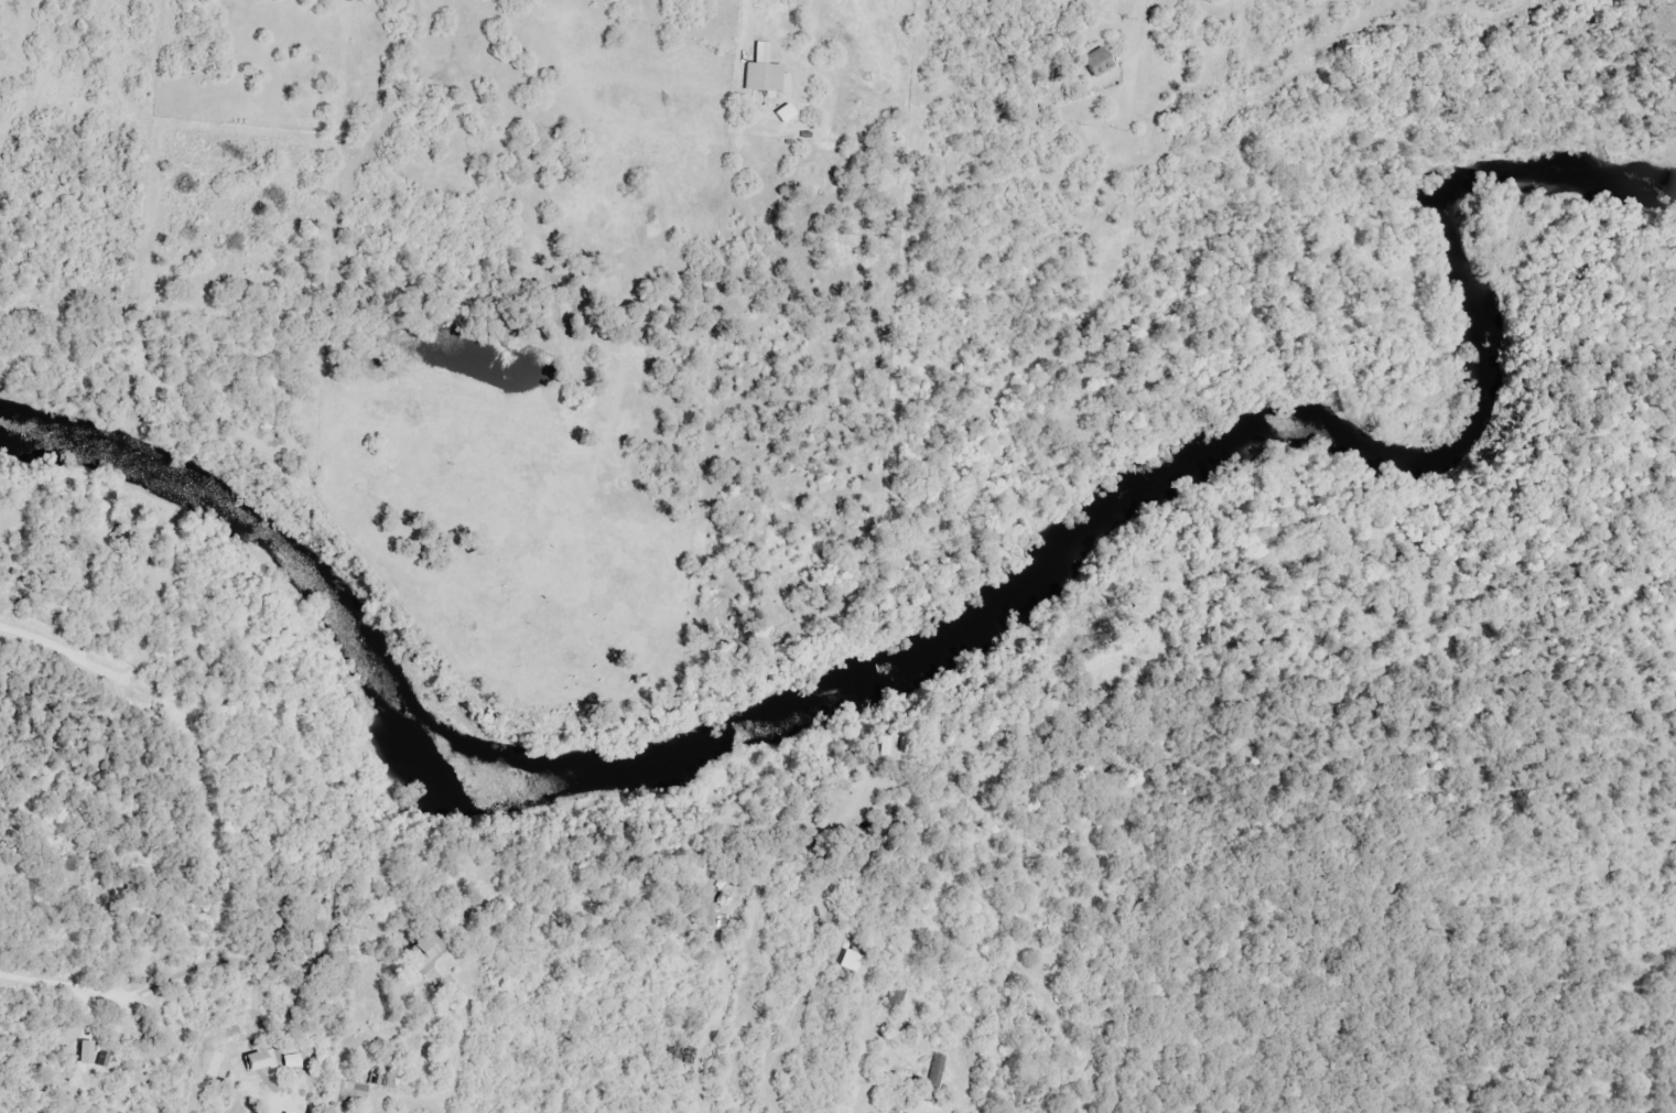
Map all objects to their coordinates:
building: (1099, 62)
building: (764, 78)
building: (1110, 634)
river: (931, 646)
road: (65, 653)
building: (425, 953)
building: (895, 998)
road: (456, 1039)
building: (420, 1050)
building: (261, 1061)
building: (385, 1080)
road: (865, 1081)
road: (271, 1104)

